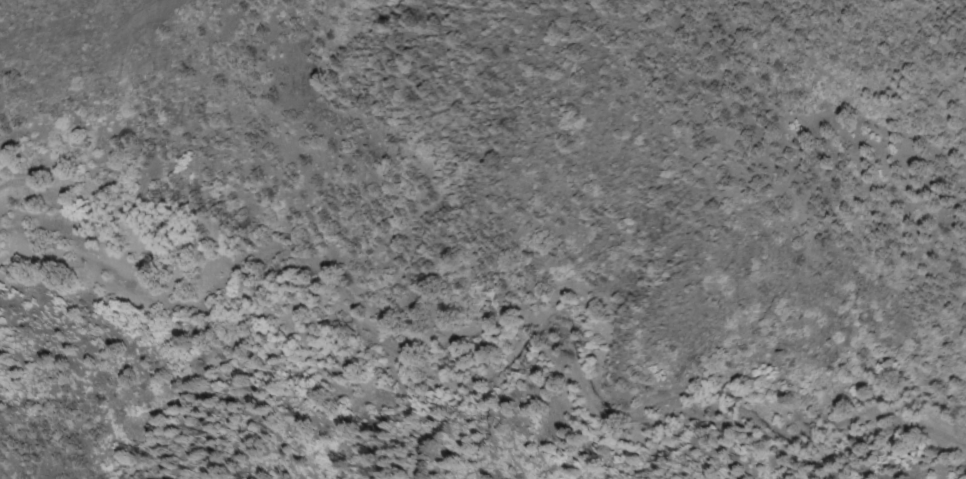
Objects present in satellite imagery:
road: (477, 329)
mineshaft: (380, 424)

